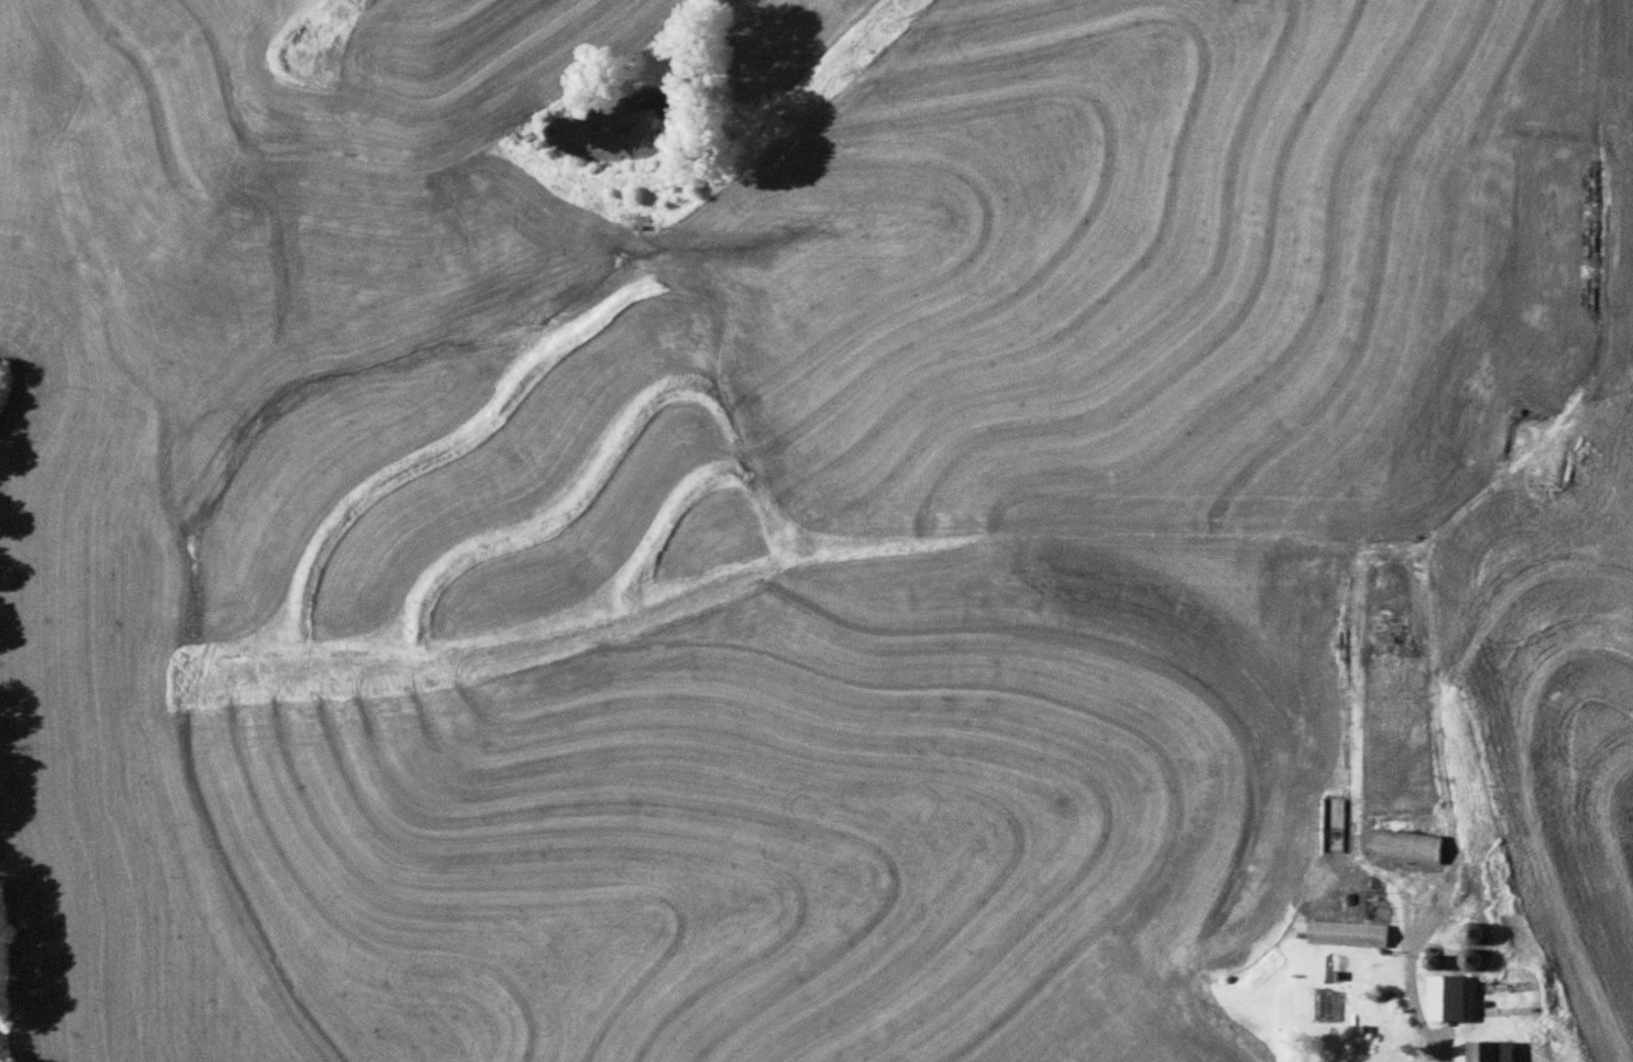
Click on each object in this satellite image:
building: (1409, 844)
building: (1479, 931)
building: (1351, 932)
building: (1478, 959)
building: (1453, 997)
building: (1497, 1051)

